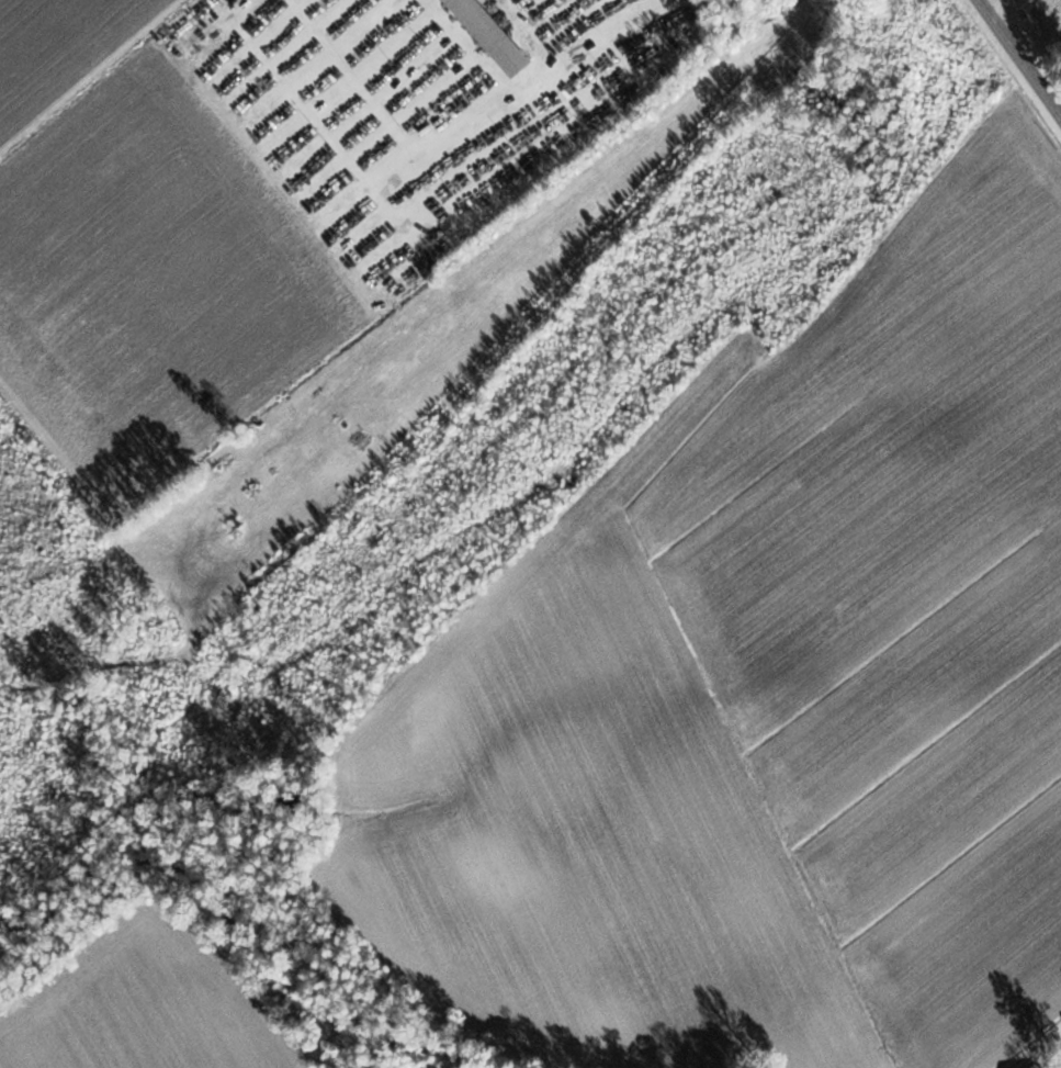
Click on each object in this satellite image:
road: (1001, 4)
road: (1025, 52)
building: (1035, 1066)

